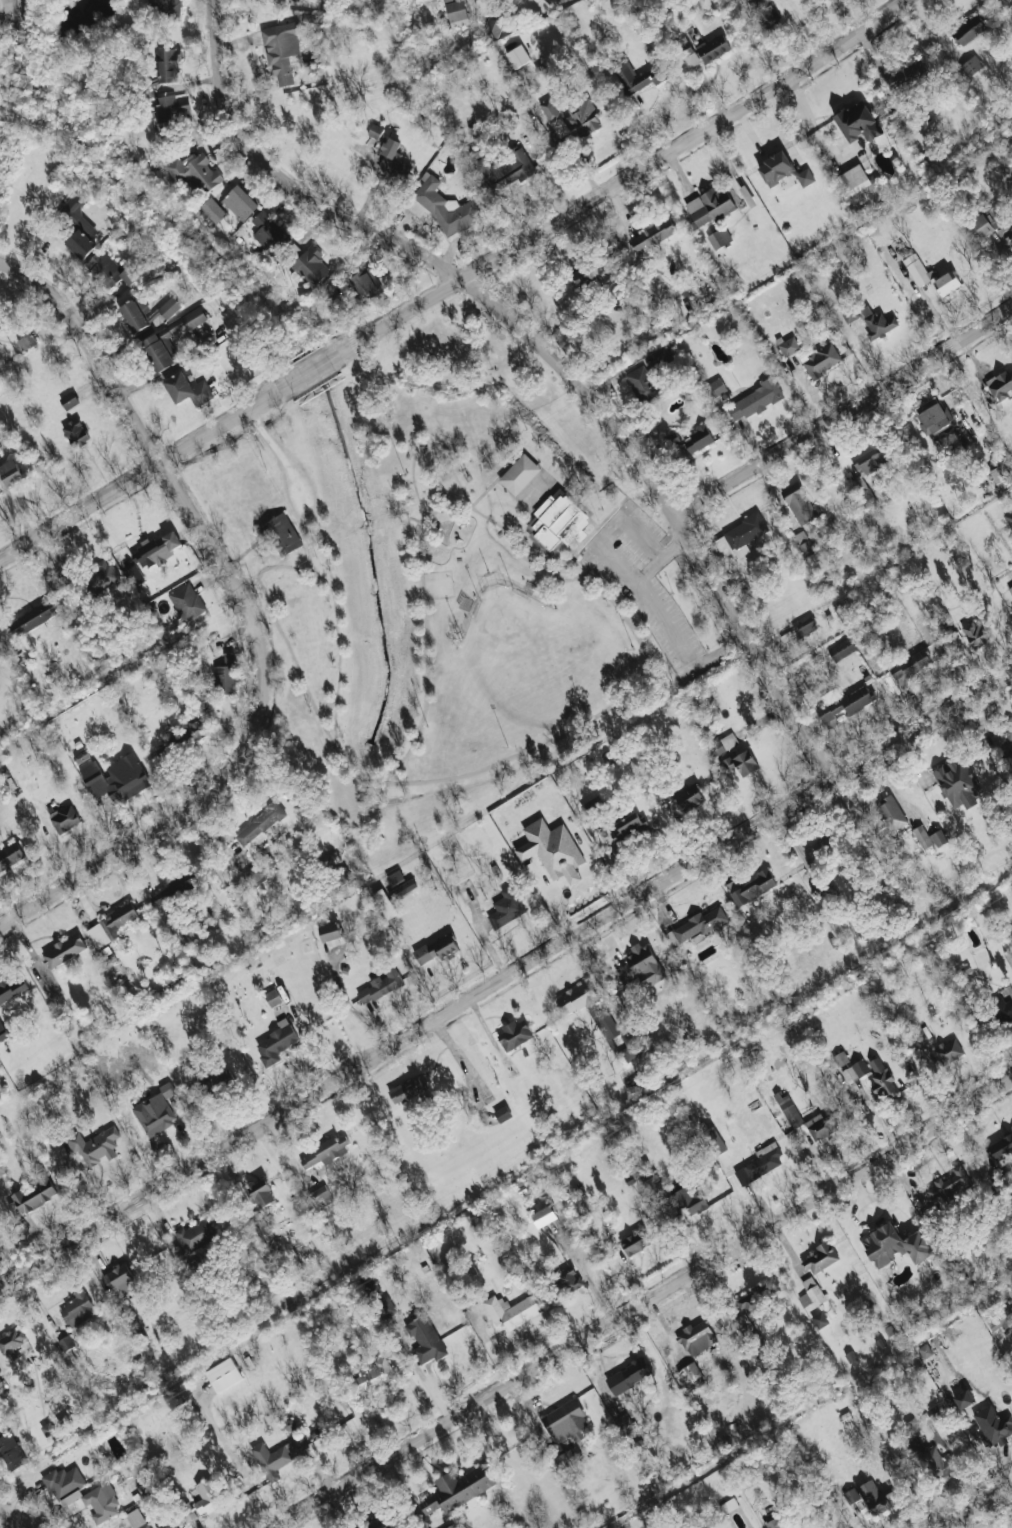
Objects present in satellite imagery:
building: (167, 6)
building: (457, 14)
building: (764, 14)
building: (493, 27)
building: (969, 30)
building: (713, 48)
building: (282, 51)
building: (690, 57)
building: (168, 66)
building: (971, 67)
building: (906, 75)
building: (636, 76)
building: (170, 111)
building: (554, 118)
building: (582, 119)
building: (858, 122)
building: (375, 131)
building: (474, 155)
building: (394, 161)
building: (783, 170)
building: (195, 172)
building: (855, 179)
road: (286, 181)
road: (621, 182)
building: (240, 203)
building: (710, 206)
building: (446, 208)
building: (213, 210)
building: (987, 222)
building: (79, 224)
building: (1008, 232)
building: (270, 234)
building: (652, 235)
building: (720, 238)
building: (310, 266)
building: (107, 270)
building: (582, 276)
building: (931, 276)
building: (366, 284)
building: (169, 307)
building: (850, 312)
building: (135, 314)
building: (157, 317)
building: (877, 322)
building: (155, 339)
building: (27, 342)
building: (789, 346)
road: (91, 351)
building: (821, 361)
road: (310, 372)
building: (644, 384)
building: (1001, 386)
building: (716, 388)
building: (187, 390)
building: (69, 401)
building: (755, 401)
road: (844, 414)
building: (932, 416)
building: (76, 433)
building: (698, 440)
road: (424, 442)
building: (869, 456)
road: (144, 472)
building: (11, 473)
building: (520, 474)
building: (1002, 478)
road: (497, 479)
building: (863, 492)
building: (799, 503)
road: (671, 510)
building: (1009, 518)
road: (416, 519)
building: (558, 521)
road: (594, 523)
road: (287, 526)
road: (604, 530)
building: (281, 535)
building: (741, 535)
road: (520, 536)
road: (639, 538)
building: (804, 543)
road: (579, 547)
building: (157, 549)
road: (570, 549)
road: (661, 560)
park: (451, 564)
building: (101, 576)
building: (135, 576)
road: (494, 583)
parking lot: (645, 584)
park: (438, 585)
building: (1010, 589)
building: (186, 601)
road: (252, 613)
building: (33, 618)
road: (667, 626)
building: (799, 629)
building: (975, 634)
building: (841, 649)
park: (523, 655)
building: (909, 668)
building: (226, 674)
building: (845, 702)
road: (570, 731)
building: (183, 736)
building: (1003, 736)
building: (723, 744)
building: (742, 762)
building: (112, 775)
power tower: (833, 779)
building: (957, 782)
building: (689, 796)
building: (891, 812)
building: (64, 818)
building: (259, 826)
building: (625, 826)
building: (929, 837)
building: (552, 850)
building: (11, 856)
road: (117, 858)
building: (254, 876)
building: (395, 877)
building: (752, 887)
building: (174, 889)
building: (384, 903)
building: (506, 907)
building: (691, 925)
building: (110, 926)
building: (330, 931)
building: (190, 932)
building: (437, 949)
building: (65, 950)
building: (640, 967)
power tower: (871, 974)
road: (506, 977)
road: (598, 979)
building: (380, 986)
building: (12, 988)
building: (273, 997)
building: (1002, 1010)
road: (356, 1012)
building: (601, 1020)
power tower: (789, 1023)
building: (3, 1032)
building: (916, 1034)
building: (514, 1035)
building: (276, 1042)
building: (948, 1051)
building: (840, 1059)
building: (855, 1071)
building: (882, 1079)
building: (166, 1089)
building: (406, 1090)
building: (790, 1111)
building: (154, 1114)
building: (502, 1114)
power tower: (620, 1126)
building: (821, 1126)
building: (714, 1141)
building: (93, 1145)
building: (1000, 1146)
building: (325, 1152)
building: (760, 1163)
building: (946, 1185)
building: (35, 1193)
building: (261, 1193)
building: (319, 1195)
building: (689, 1200)
building: (544, 1216)
building: (261, 1230)
building: (196, 1234)
building: (635, 1242)
building: (894, 1245)
building: (821, 1257)
power tower: (399, 1258)
building: (120, 1278)
building: (563, 1279)
building: (813, 1290)
building: (753, 1299)
building: (804, 1300)
road: (644, 1304)
building: (78, 1310)
building: (511, 1310)
building: (820, 1319)
building: (1000, 1320)
building: (746, 1328)
building: (697, 1338)
building: (424, 1339)
building: (11, 1340)
building: (66, 1343)
building: (689, 1374)
building: (224, 1375)
building: (374, 1376)
building: (628, 1376)
power tower: (181, 1391)
building: (964, 1399)
building: (935, 1411)
building: (565, 1421)
building: (625, 1424)
building: (993, 1425)
building: (47, 1429)
building: (10, 1452)
building: (278, 1456)
building: (567, 1457)
building: (937, 1463)
building: (63, 1482)
building: (458, 1489)
building: (205, 1494)
building: (872, 1496)
building: (95, 1502)
road: (980, 1508)
building: (188, 1513)
road: (18, 1517)
building: (136, 1519)
building: (377, 1522)
building: (776, 1522)
building: (171, 1525)

